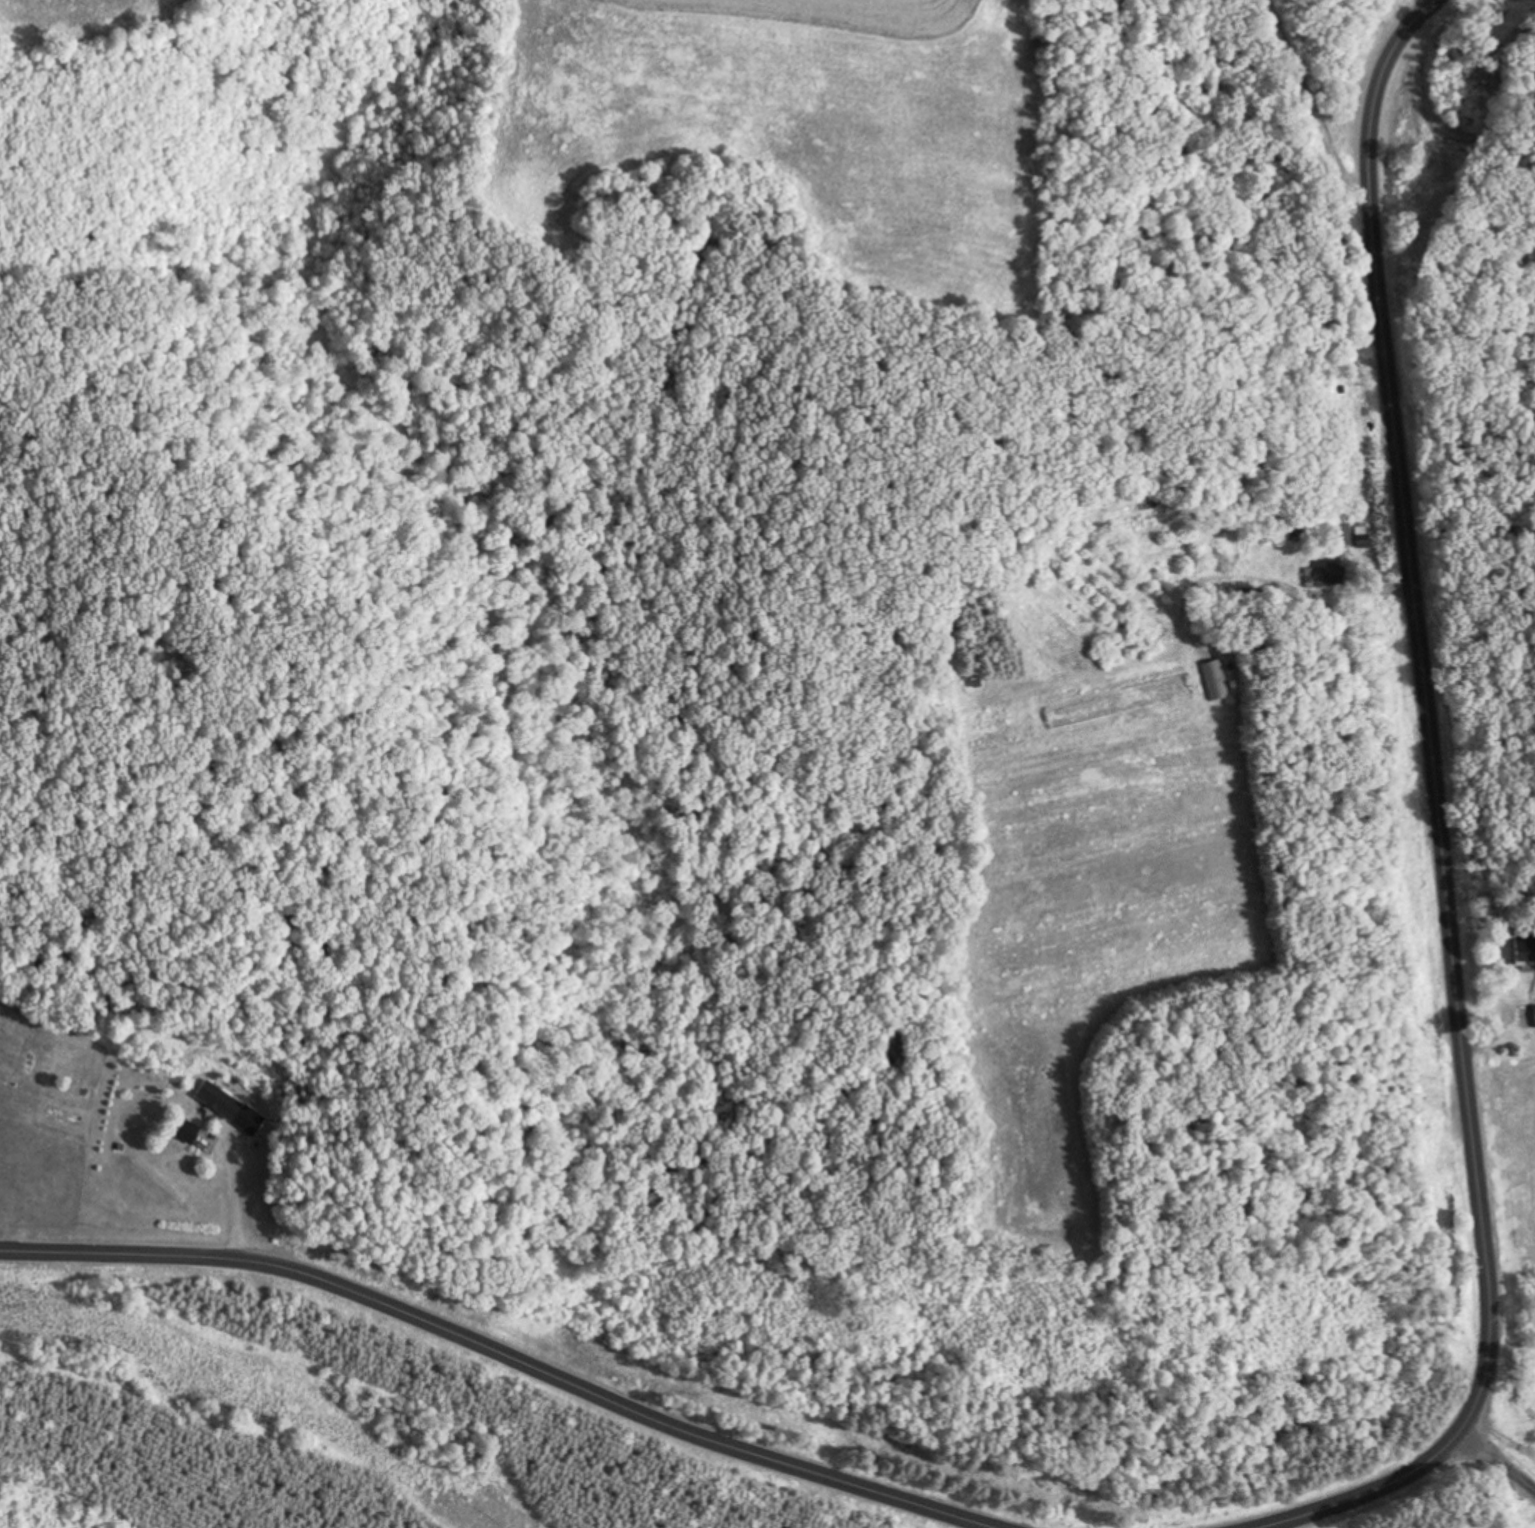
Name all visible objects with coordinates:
crop: (90, 19)
crop: (803, 133)
building: (1215, 681)
building: (1120, 700)
road: (1445, 823)
building: (1524, 949)
building: (1534, 1015)
road: (237, 1199)
crop: (1506, 1246)
road: (505, 1355)
road: (1496, 1462)

